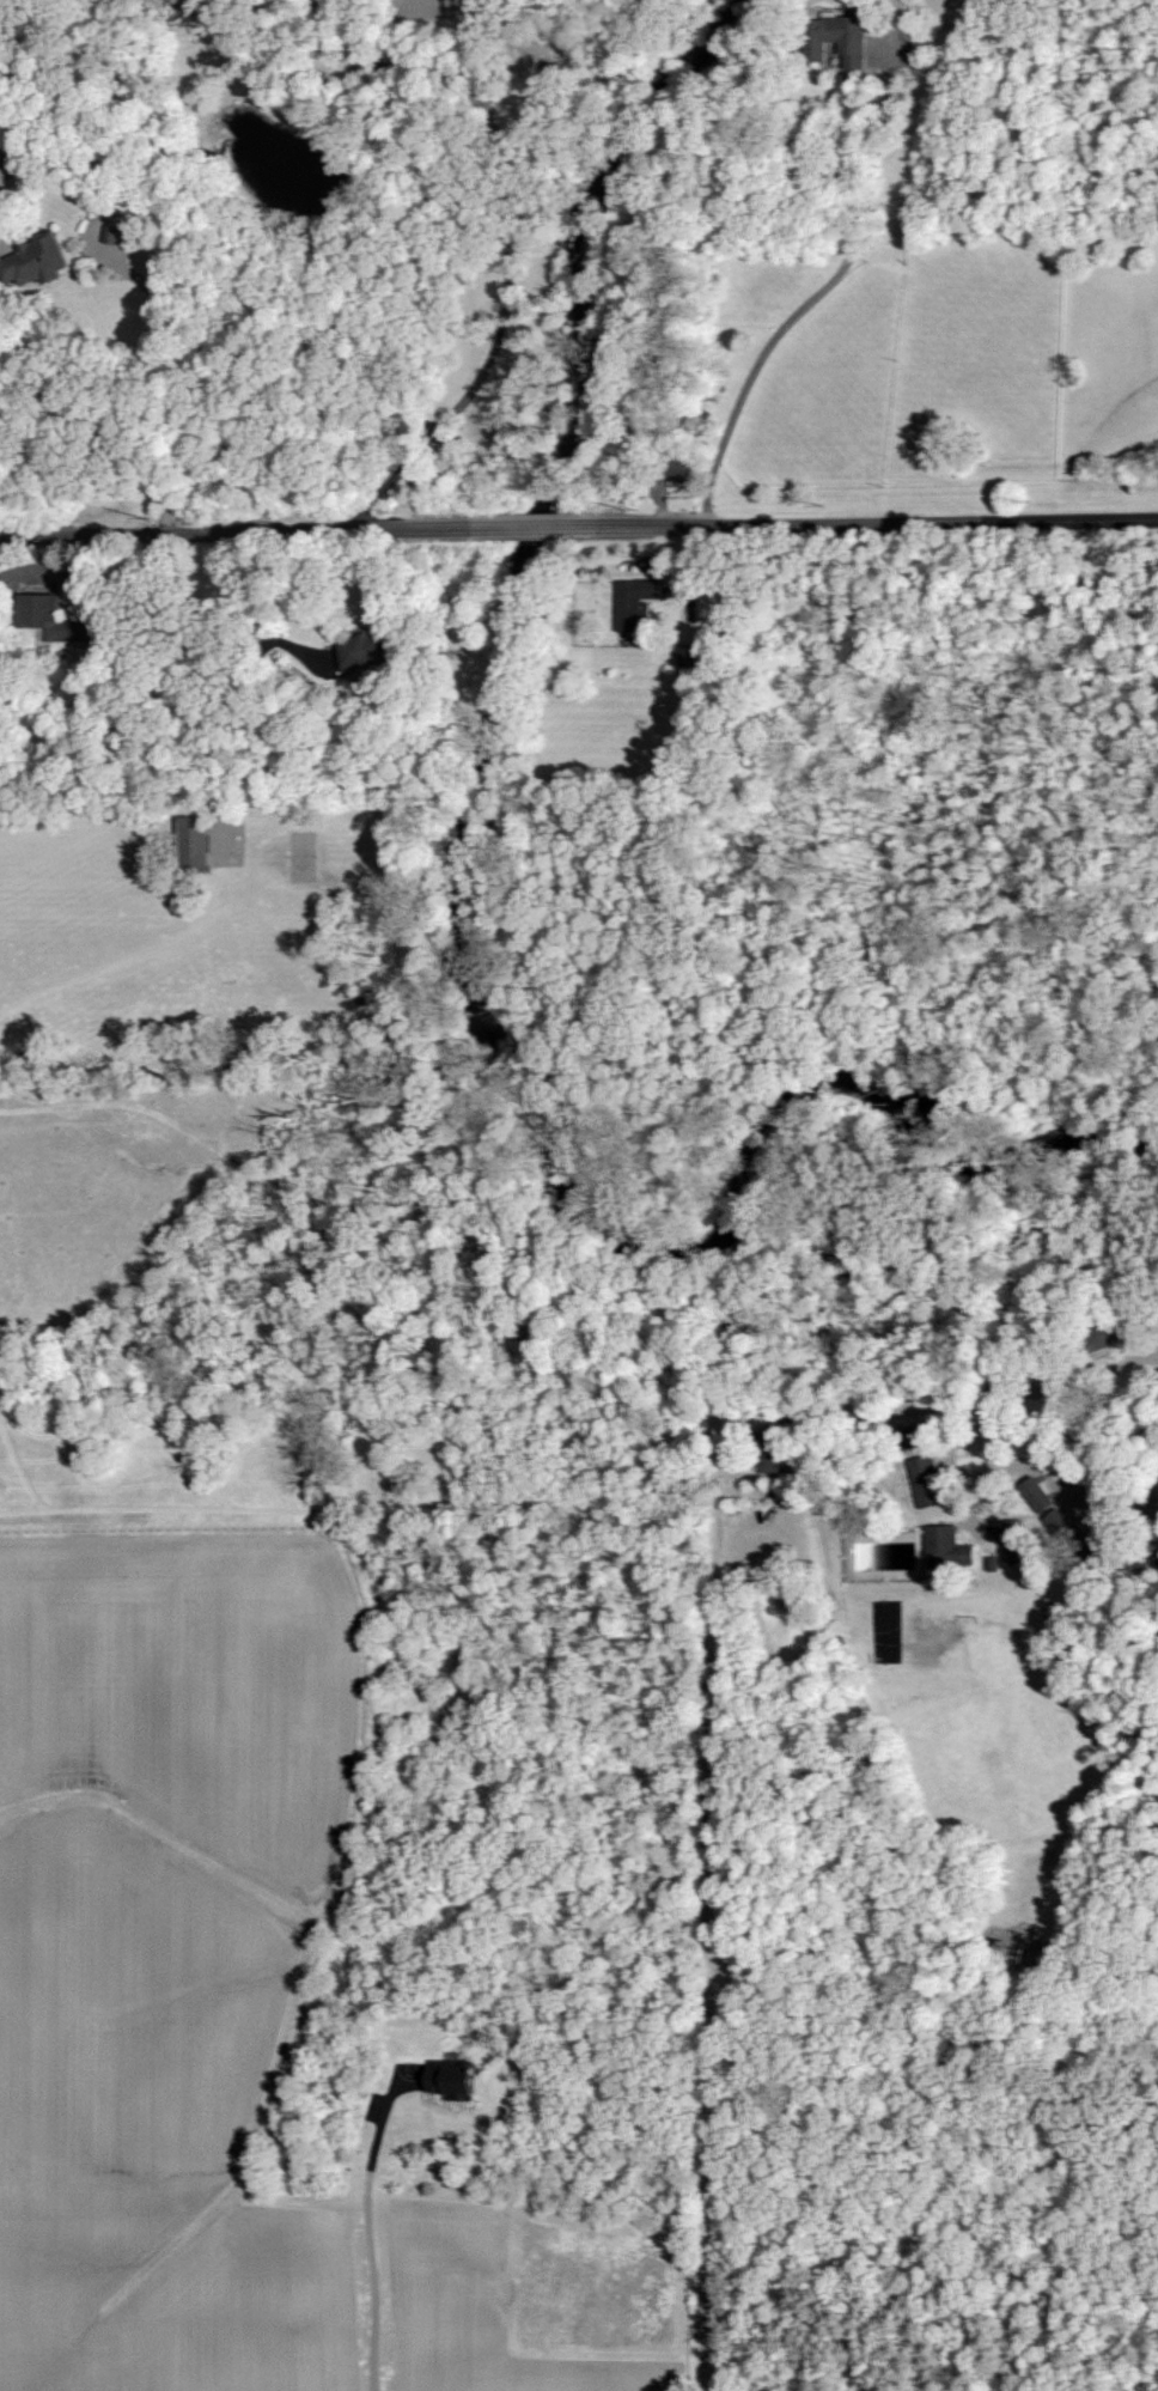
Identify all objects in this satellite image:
building: (837, 37)
building: (111, 233)
road: (508, 237)
building: (36, 260)
road: (804, 306)
road: (165, 383)
road: (579, 530)
building: (635, 607)
road: (260, 615)
building: (50, 619)
building: (362, 650)
building: (689, 655)
building: (193, 841)
building: (921, 1471)
road: (711, 1903)
road: (365, 2223)

